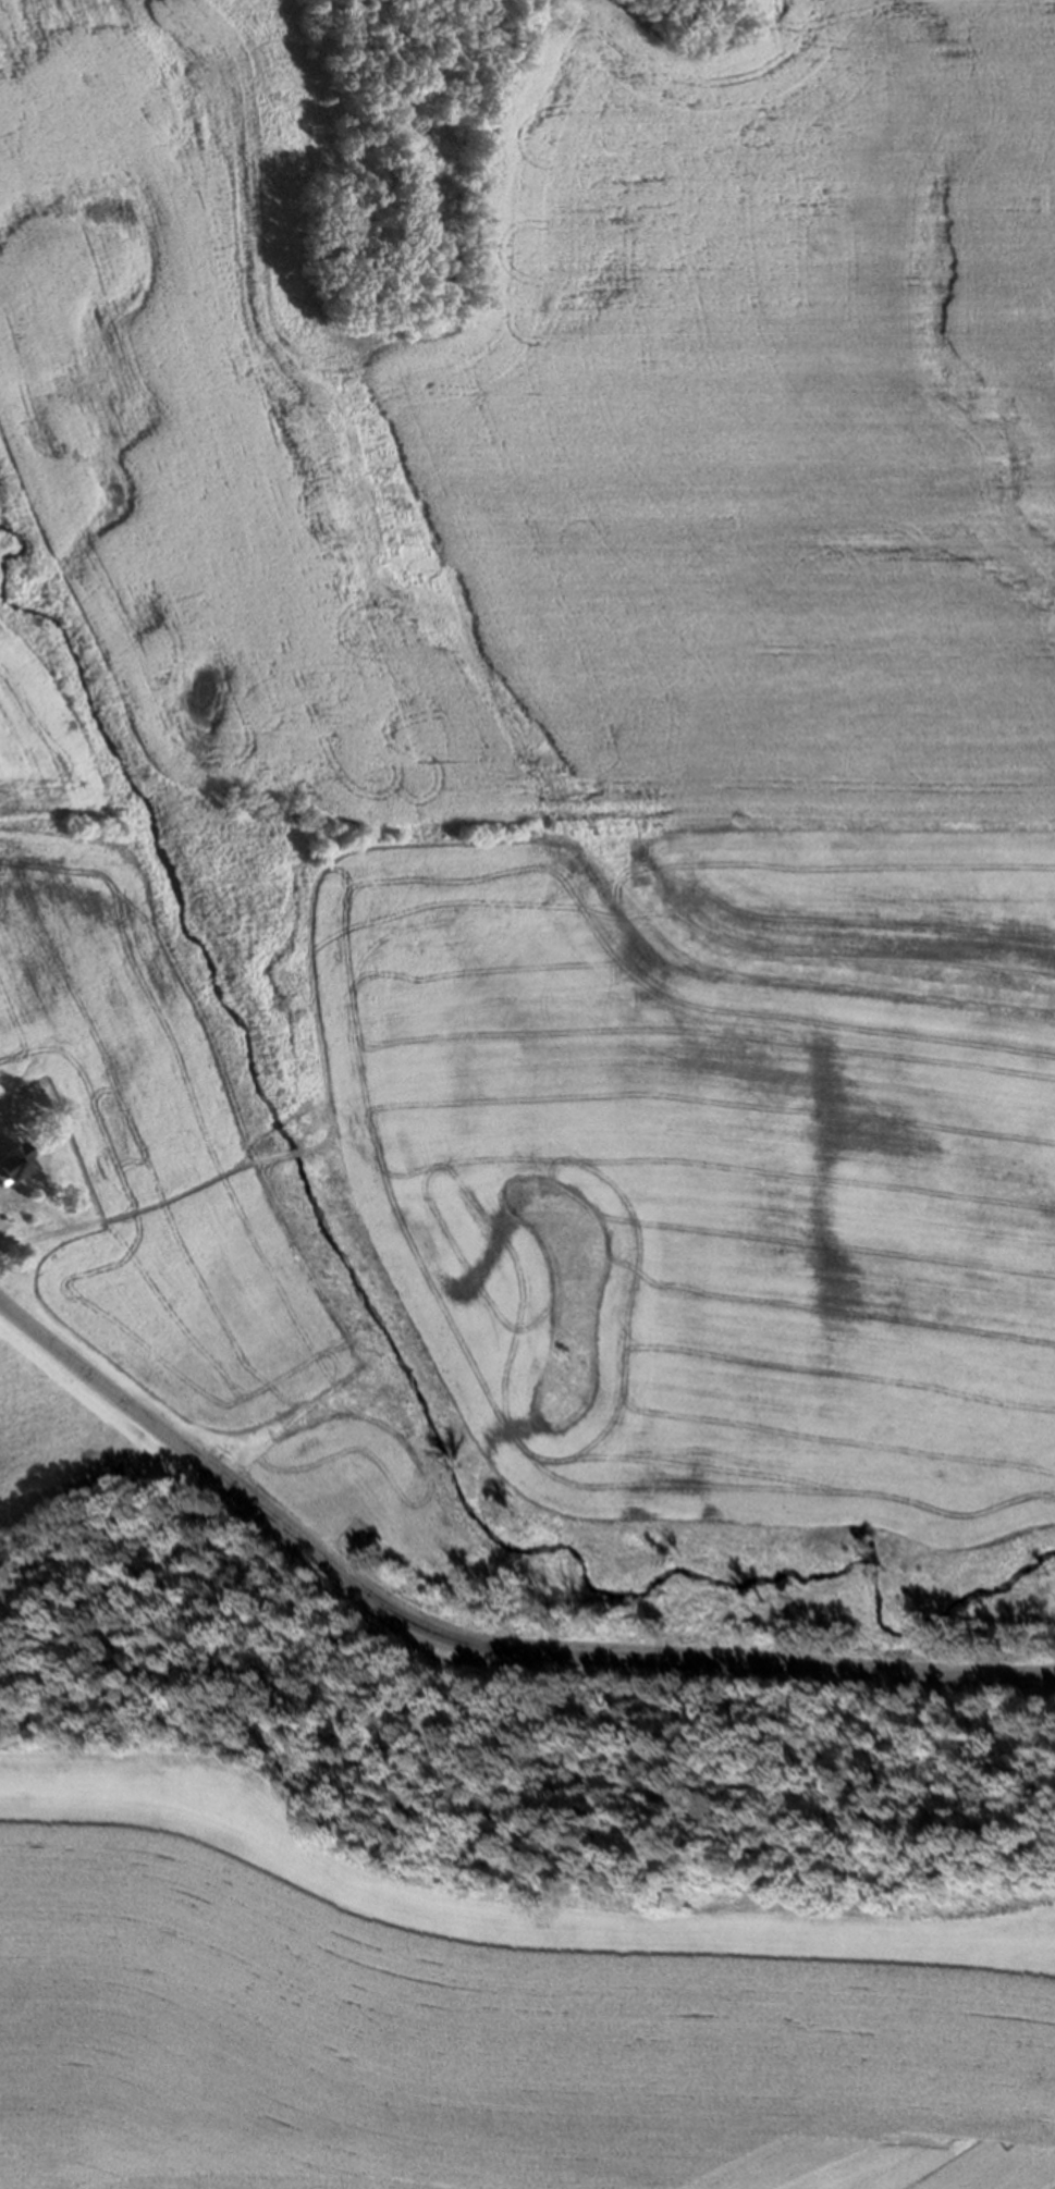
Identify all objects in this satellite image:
building: (14, 1163)
river: (319, 1234)
road: (470, 1644)

